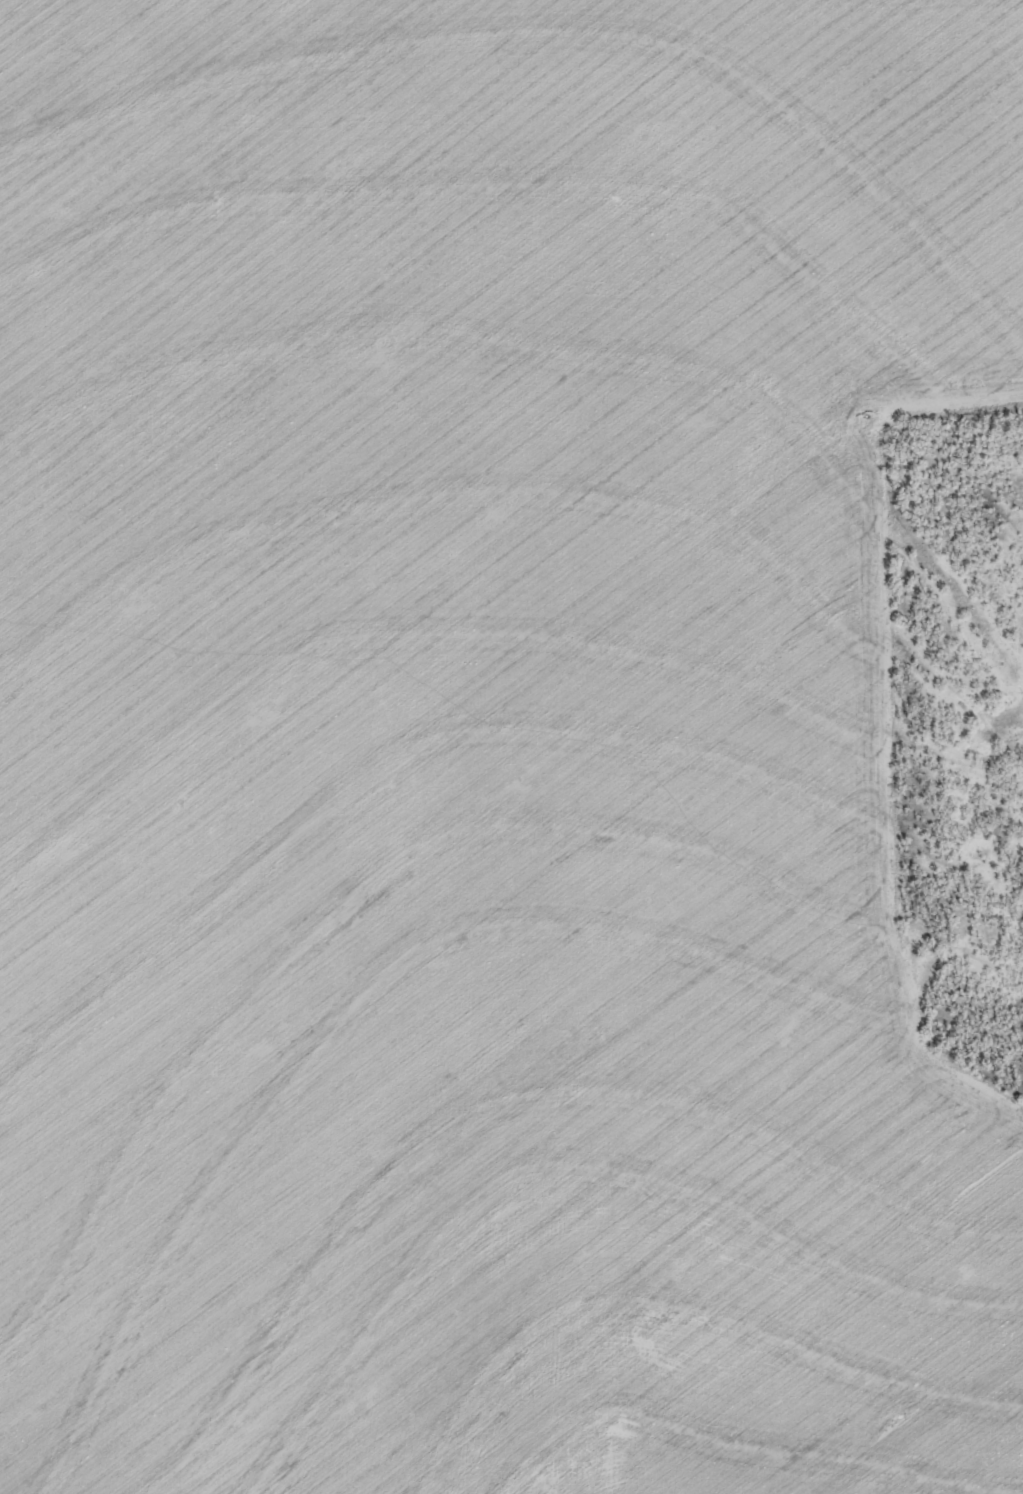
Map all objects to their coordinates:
road: (972, 1008)

